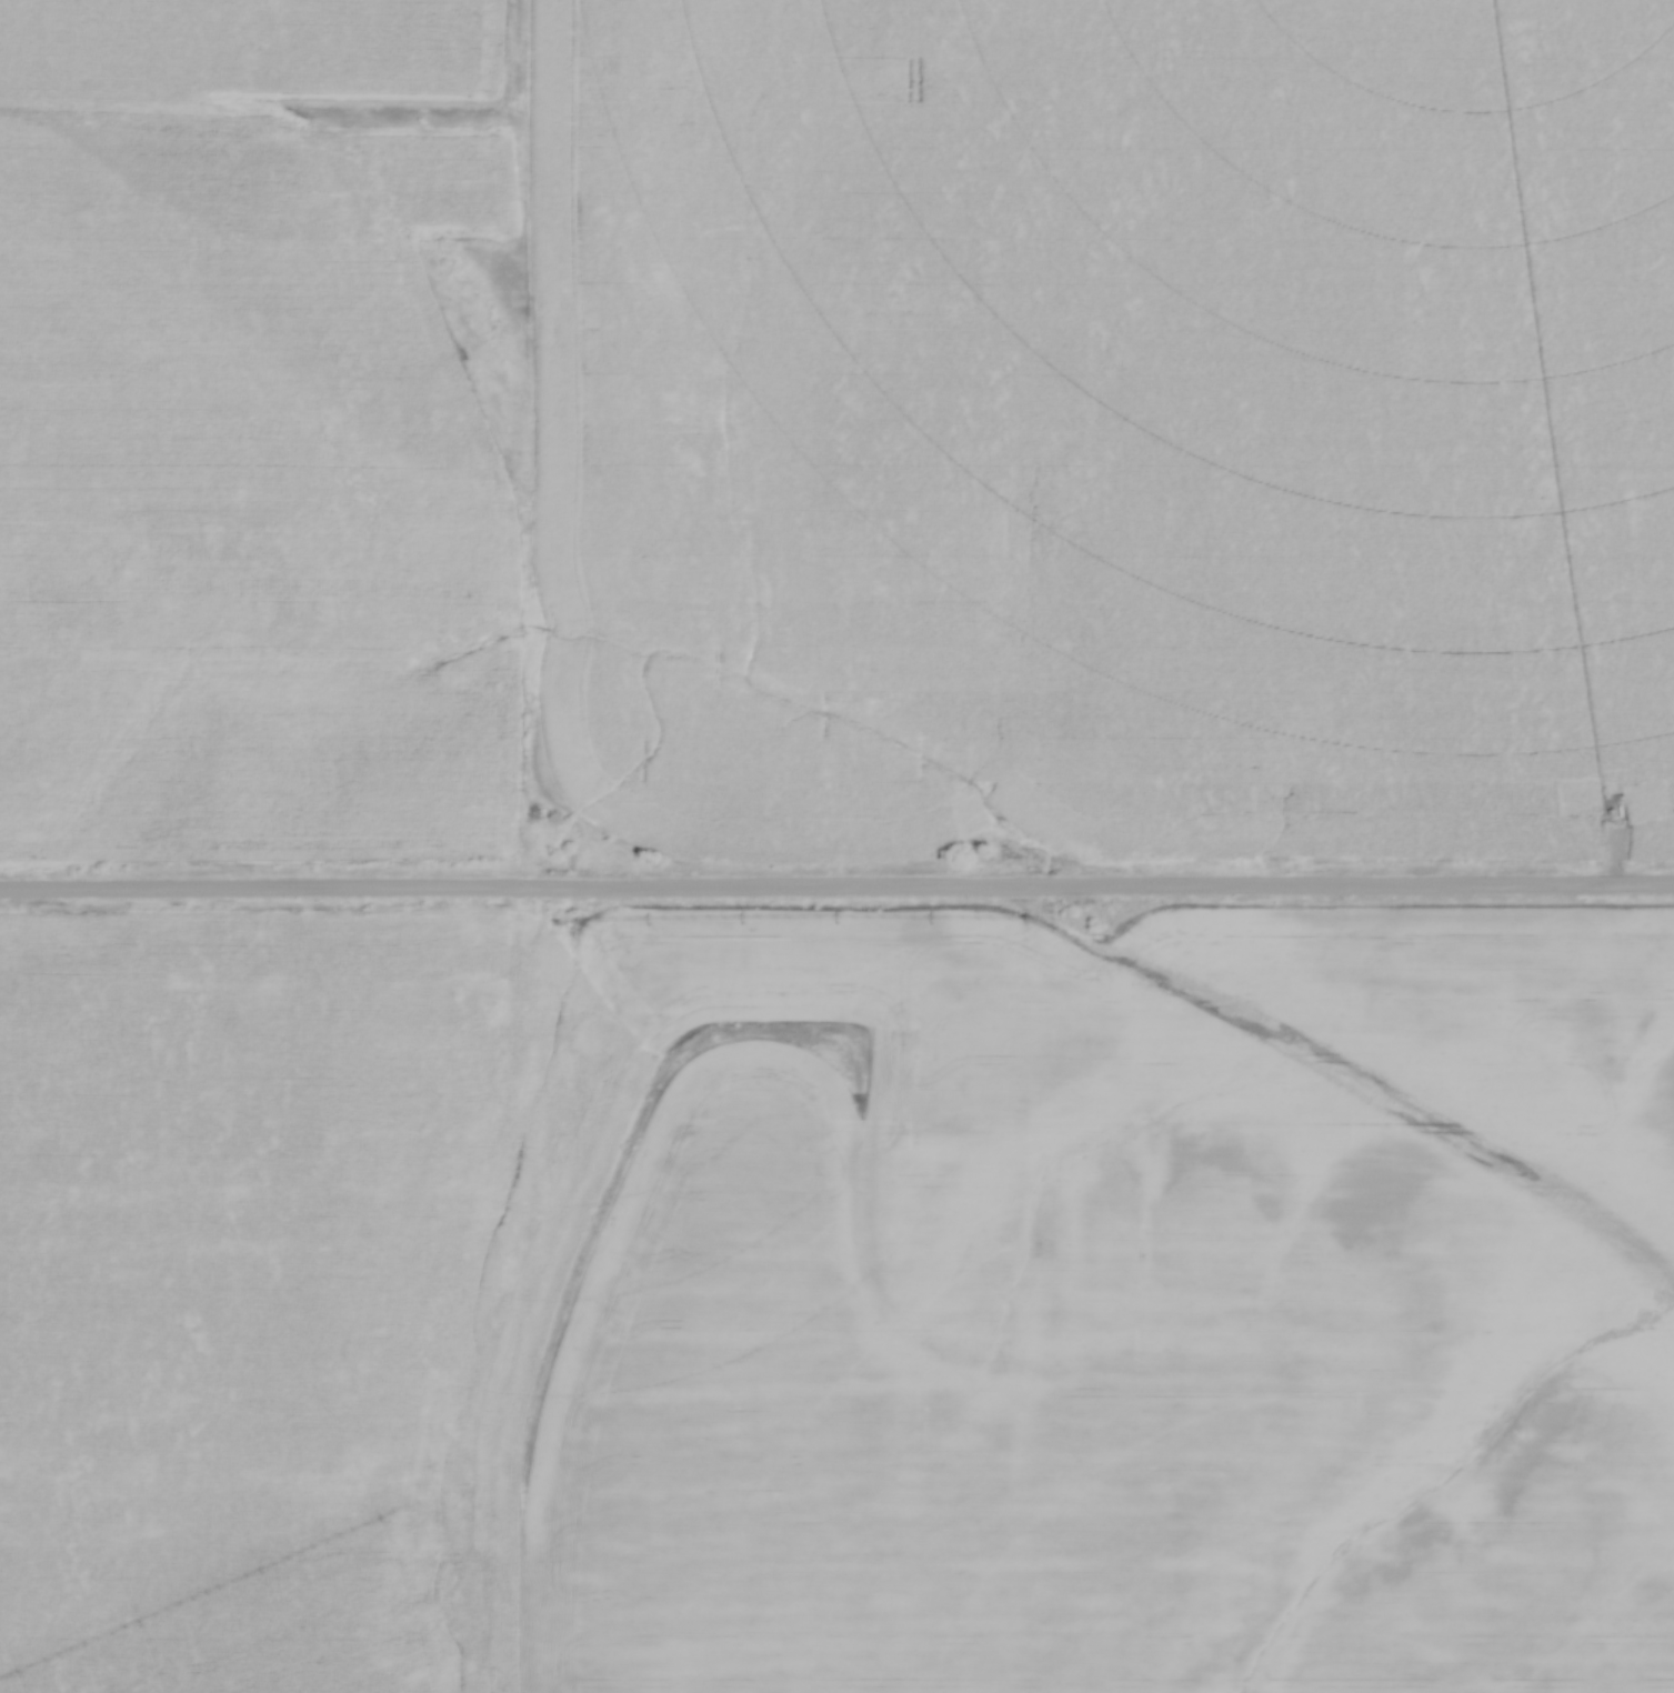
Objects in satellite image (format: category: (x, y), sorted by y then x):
road: (836, 896)

